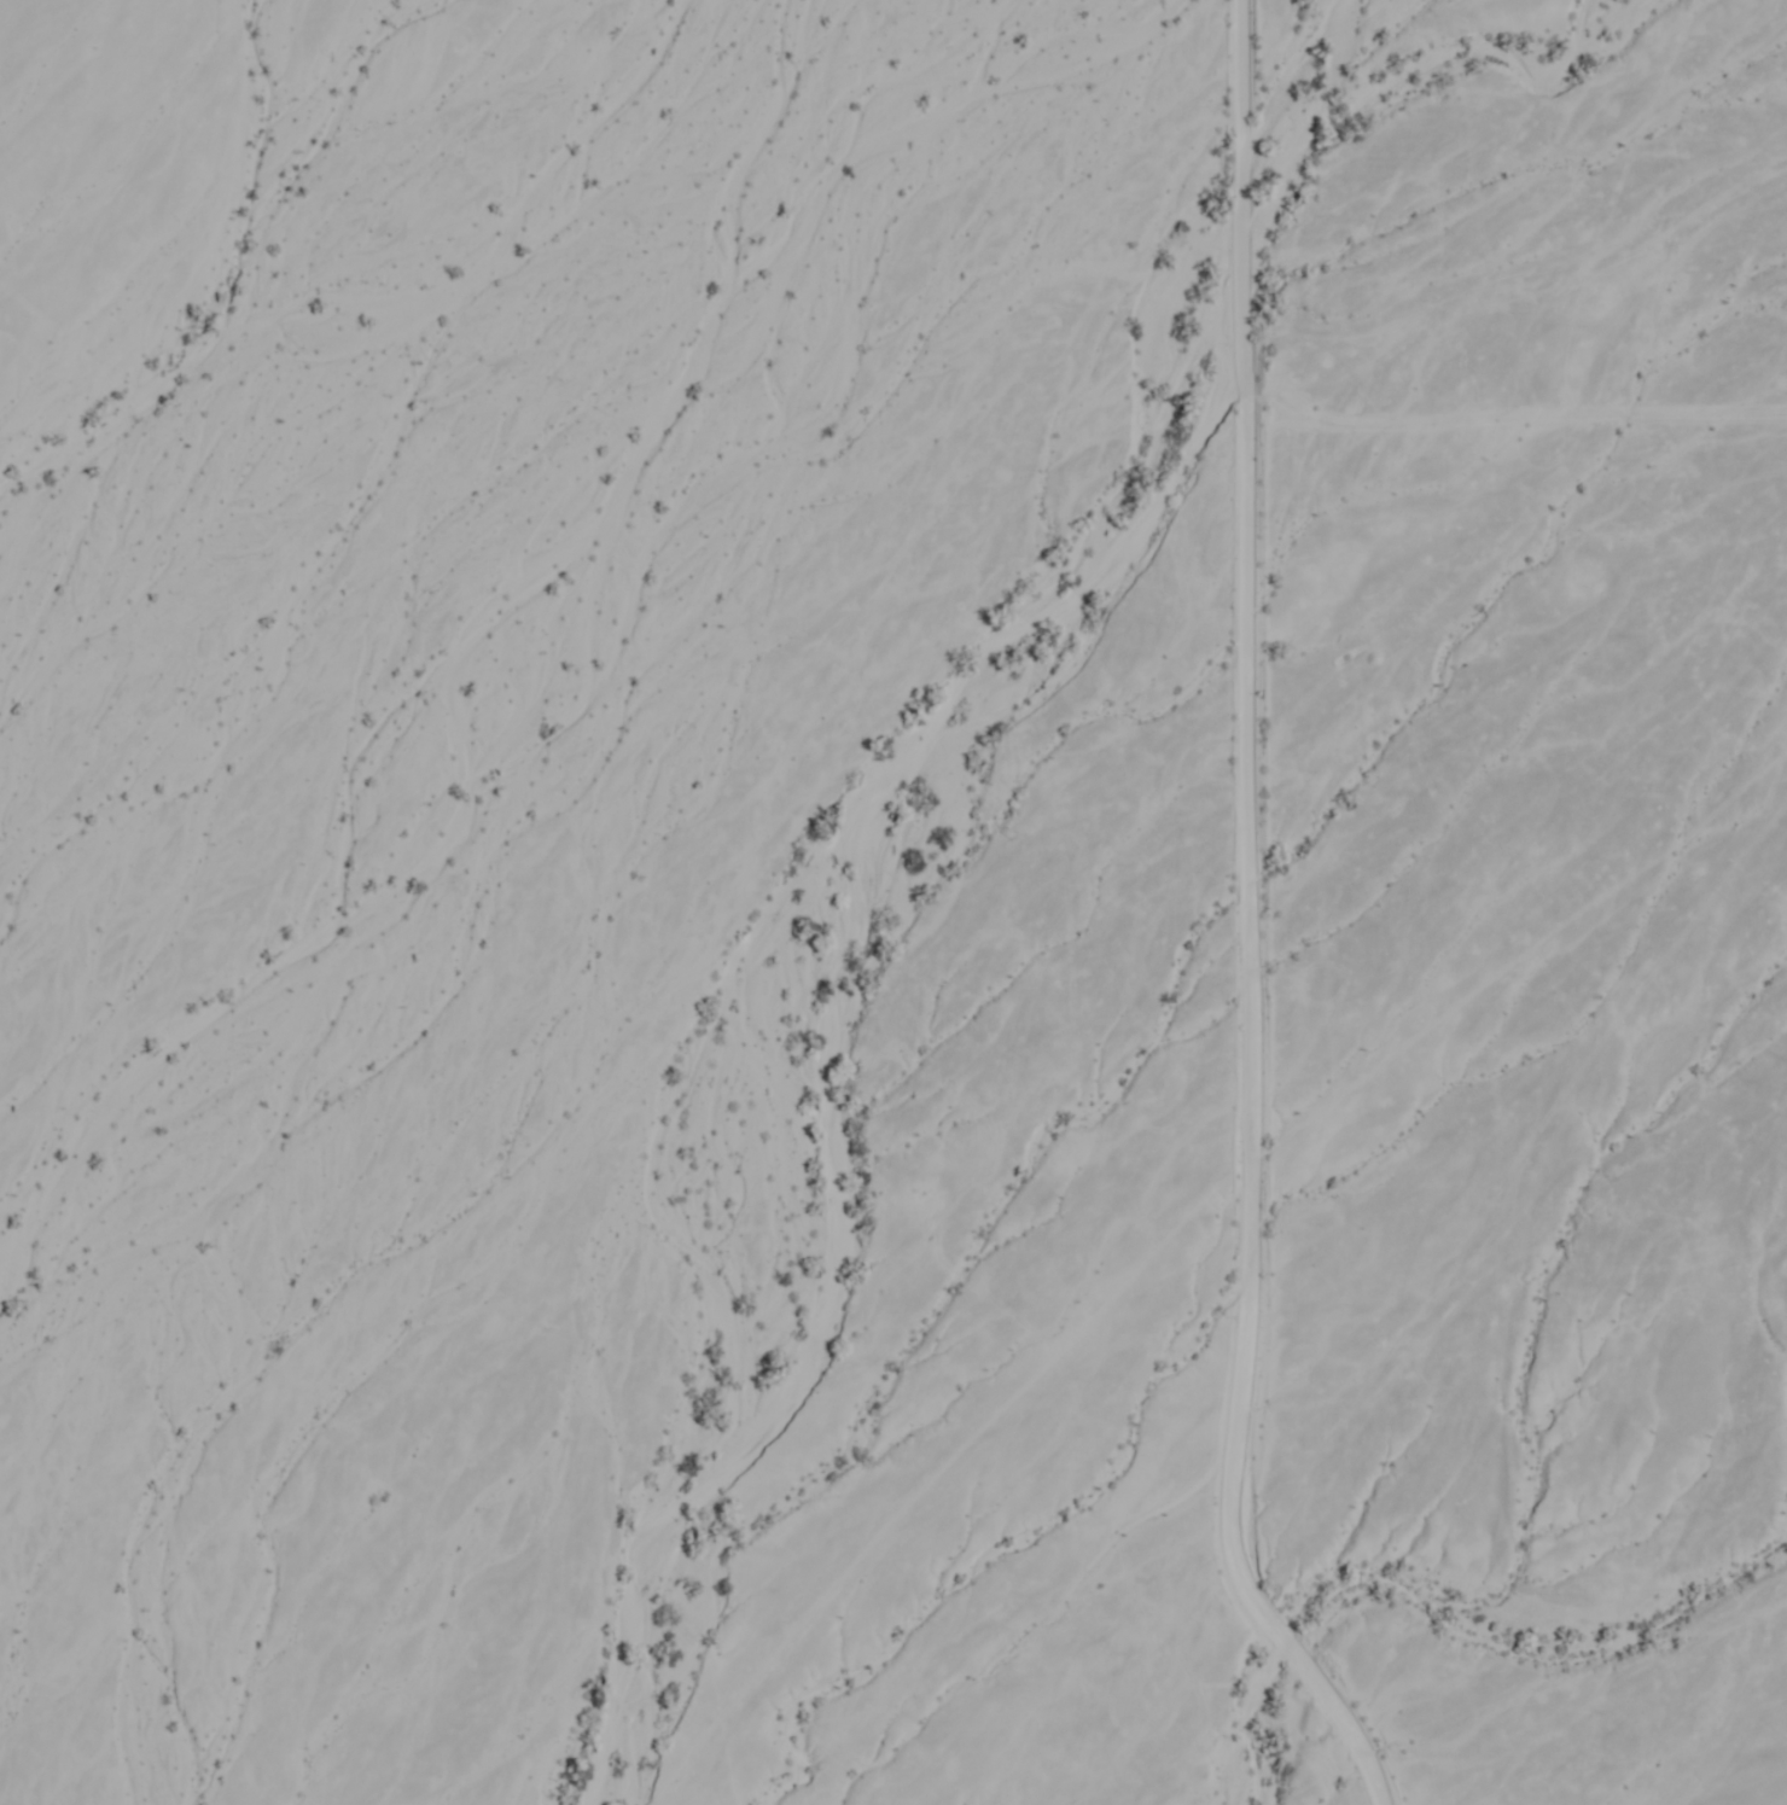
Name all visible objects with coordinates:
road: (1284, 925)

